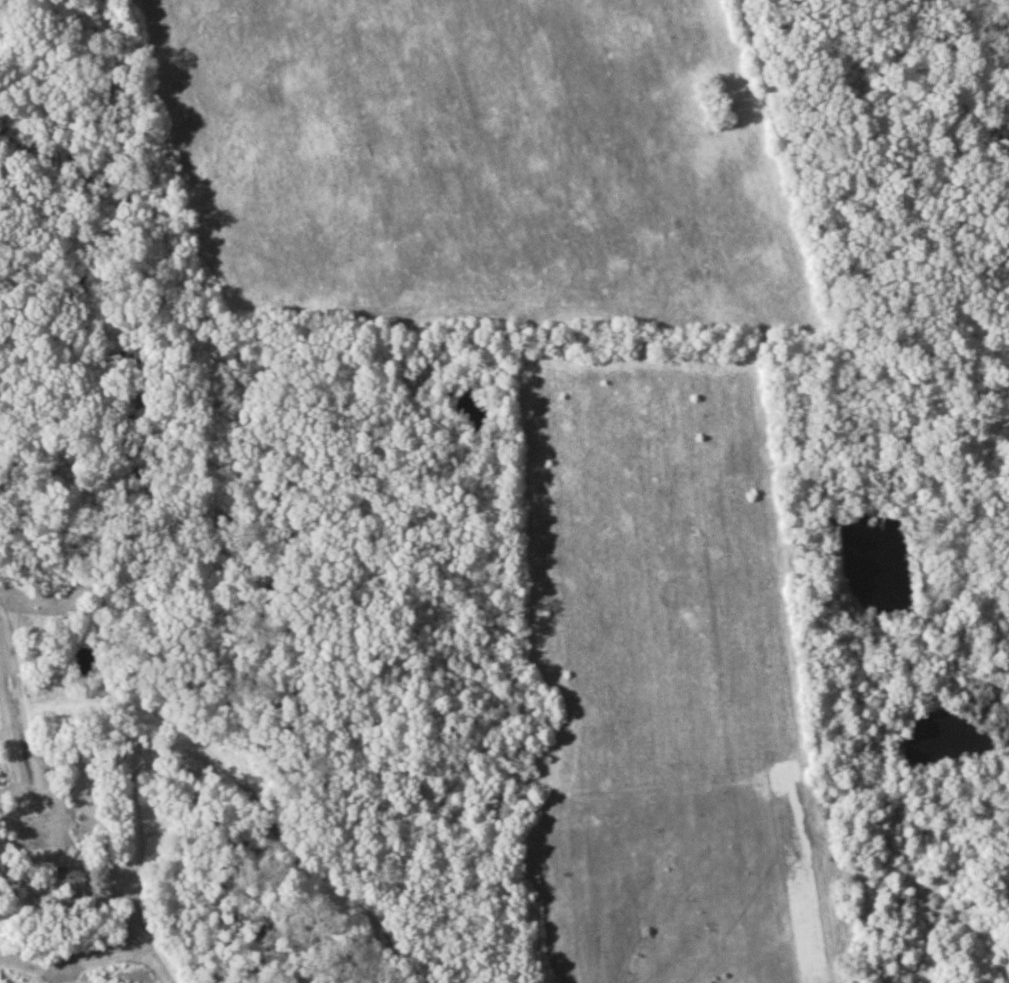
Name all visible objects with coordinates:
road: (23, 725)
building: (64, 880)

